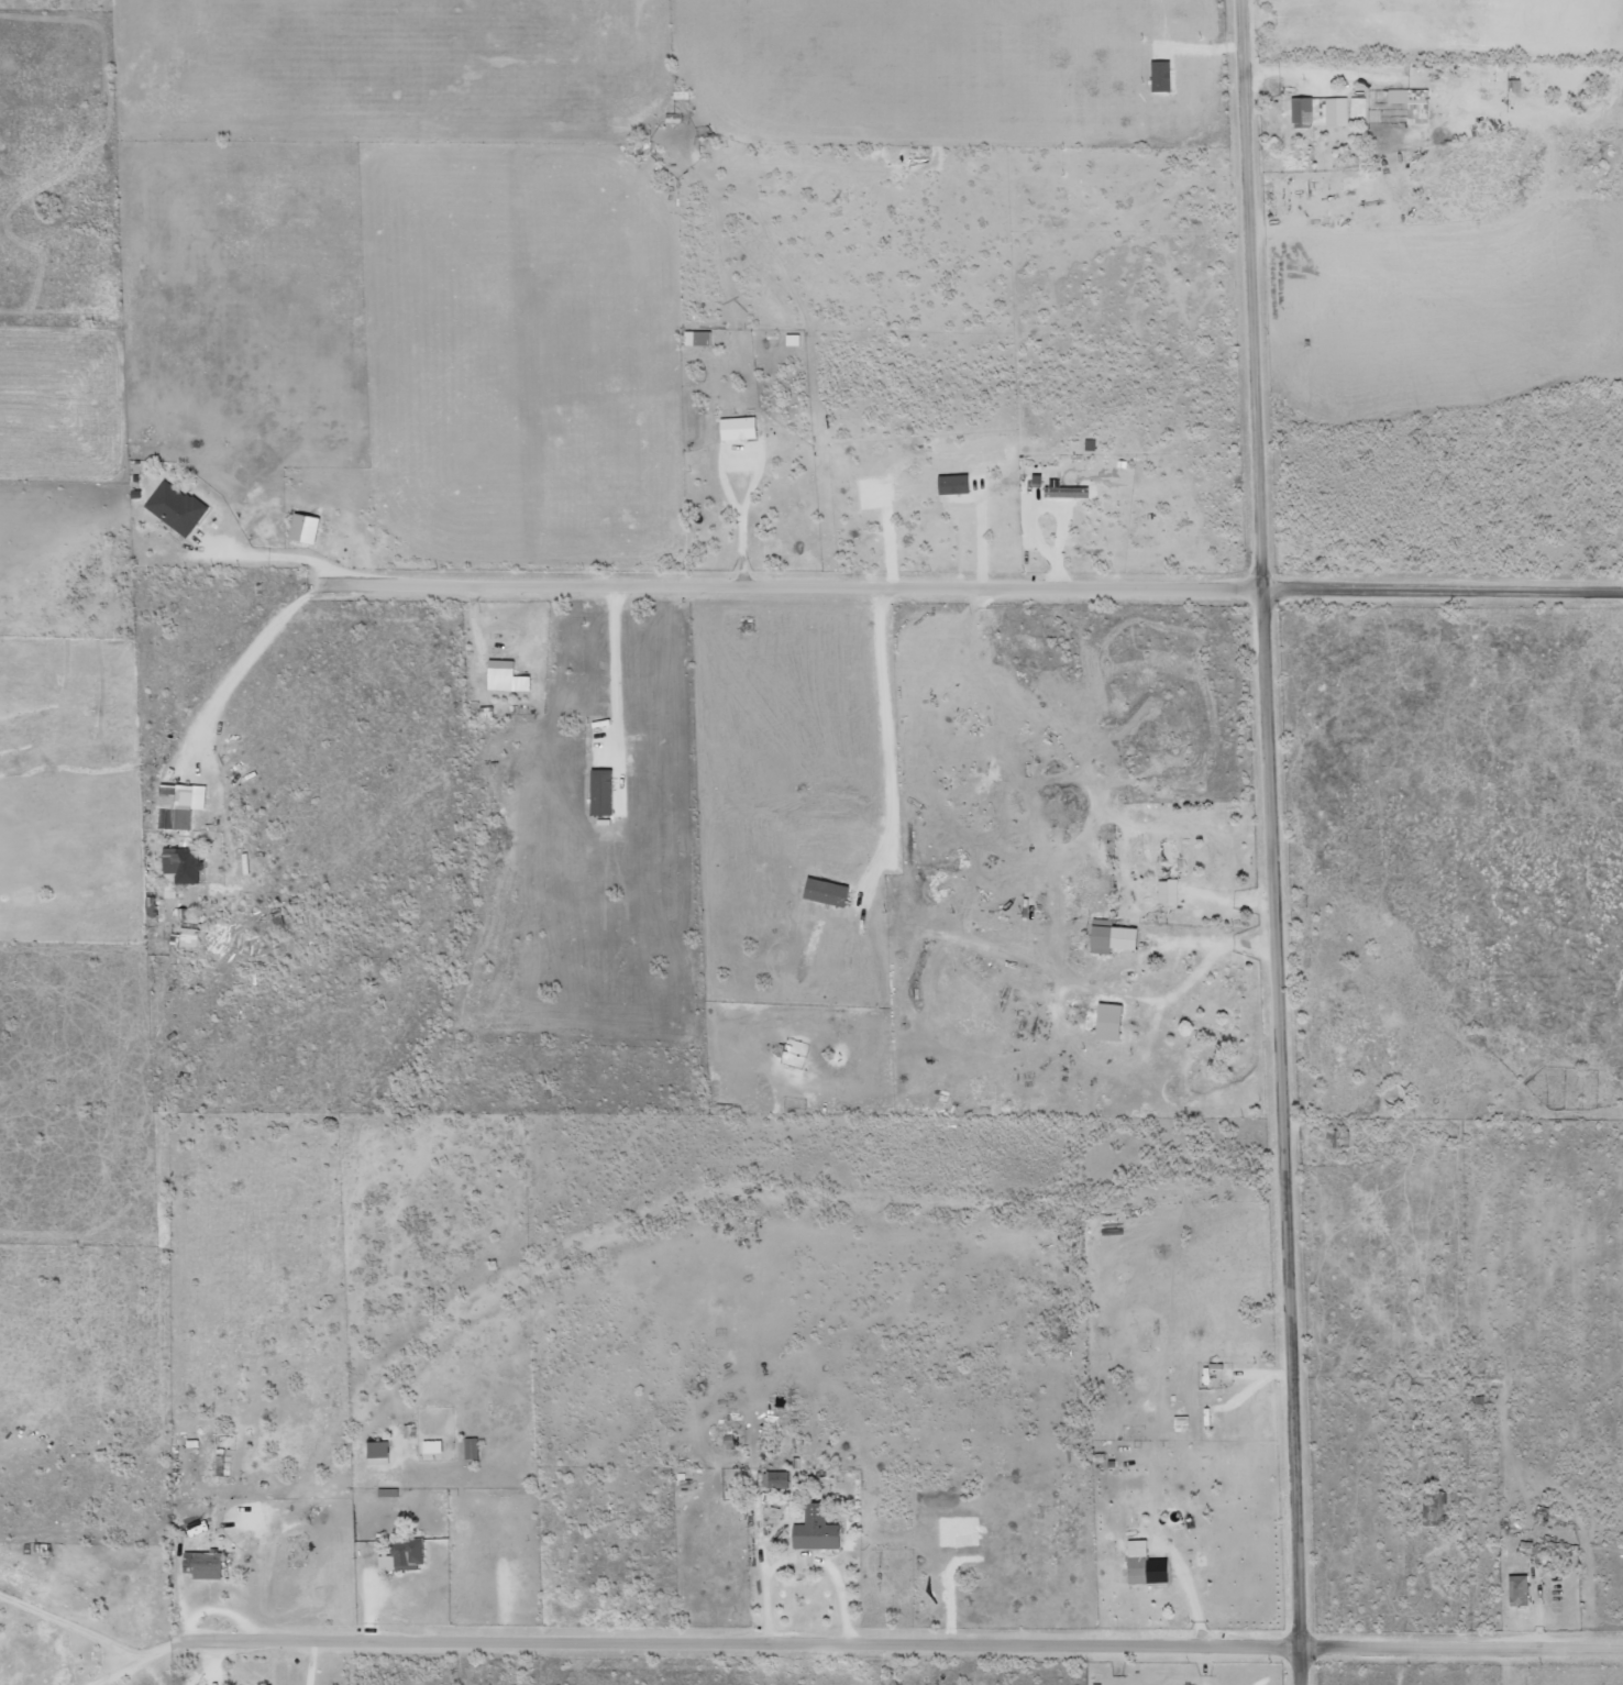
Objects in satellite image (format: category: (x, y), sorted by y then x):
building: (1159, 76)
building: (1513, 86)
building: (678, 95)
building: (1410, 103)
building: (1357, 108)
building: (1317, 112)
building: (672, 118)
building: (696, 338)
building: (791, 340)
building: (736, 429)
building: (1089, 444)
building: (1064, 493)
building: (175, 507)
building: (301, 528)
road: (1440, 587)
road: (806, 588)
building: (504, 676)
building: (484, 712)
building: (598, 791)
building: (177, 805)
road: (1267, 841)
building: (178, 869)
building: (1166, 891)
building: (824, 892)
building: (1108, 936)
building: (184, 937)
building: (1105, 1022)
building: (1179, 1423)
building: (430, 1446)
building: (470, 1449)
building: (376, 1453)
building: (218, 1465)
building: (774, 1480)
building: (386, 1493)
building: (1431, 1510)
building: (814, 1530)
building: (402, 1554)
building: (1135, 1562)
building: (206, 1565)
building: (1516, 1590)
road: (752, 1645)
road: (1459, 1650)

